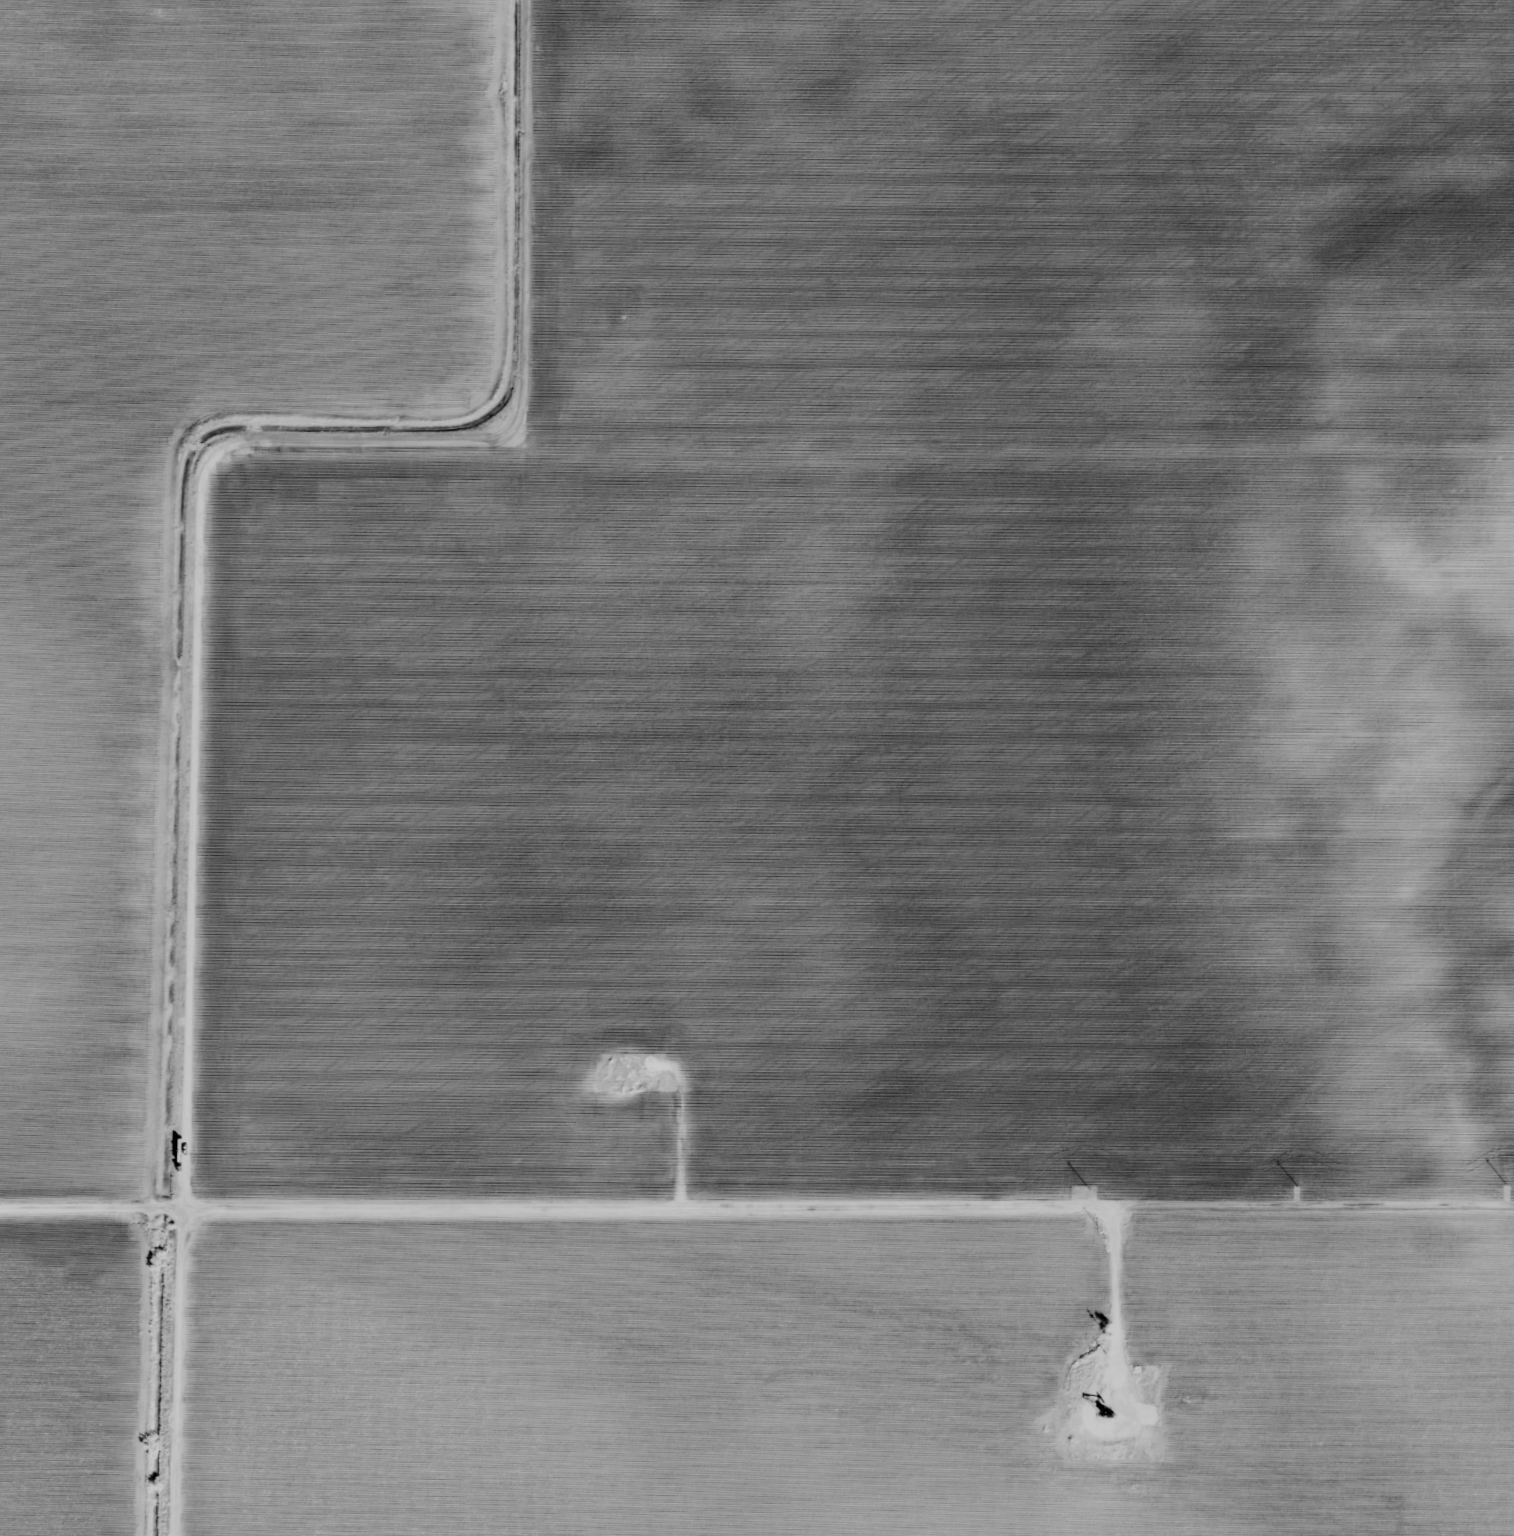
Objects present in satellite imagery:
road: (512, 224)
road: (164, 827)
road: (757, 1207)

